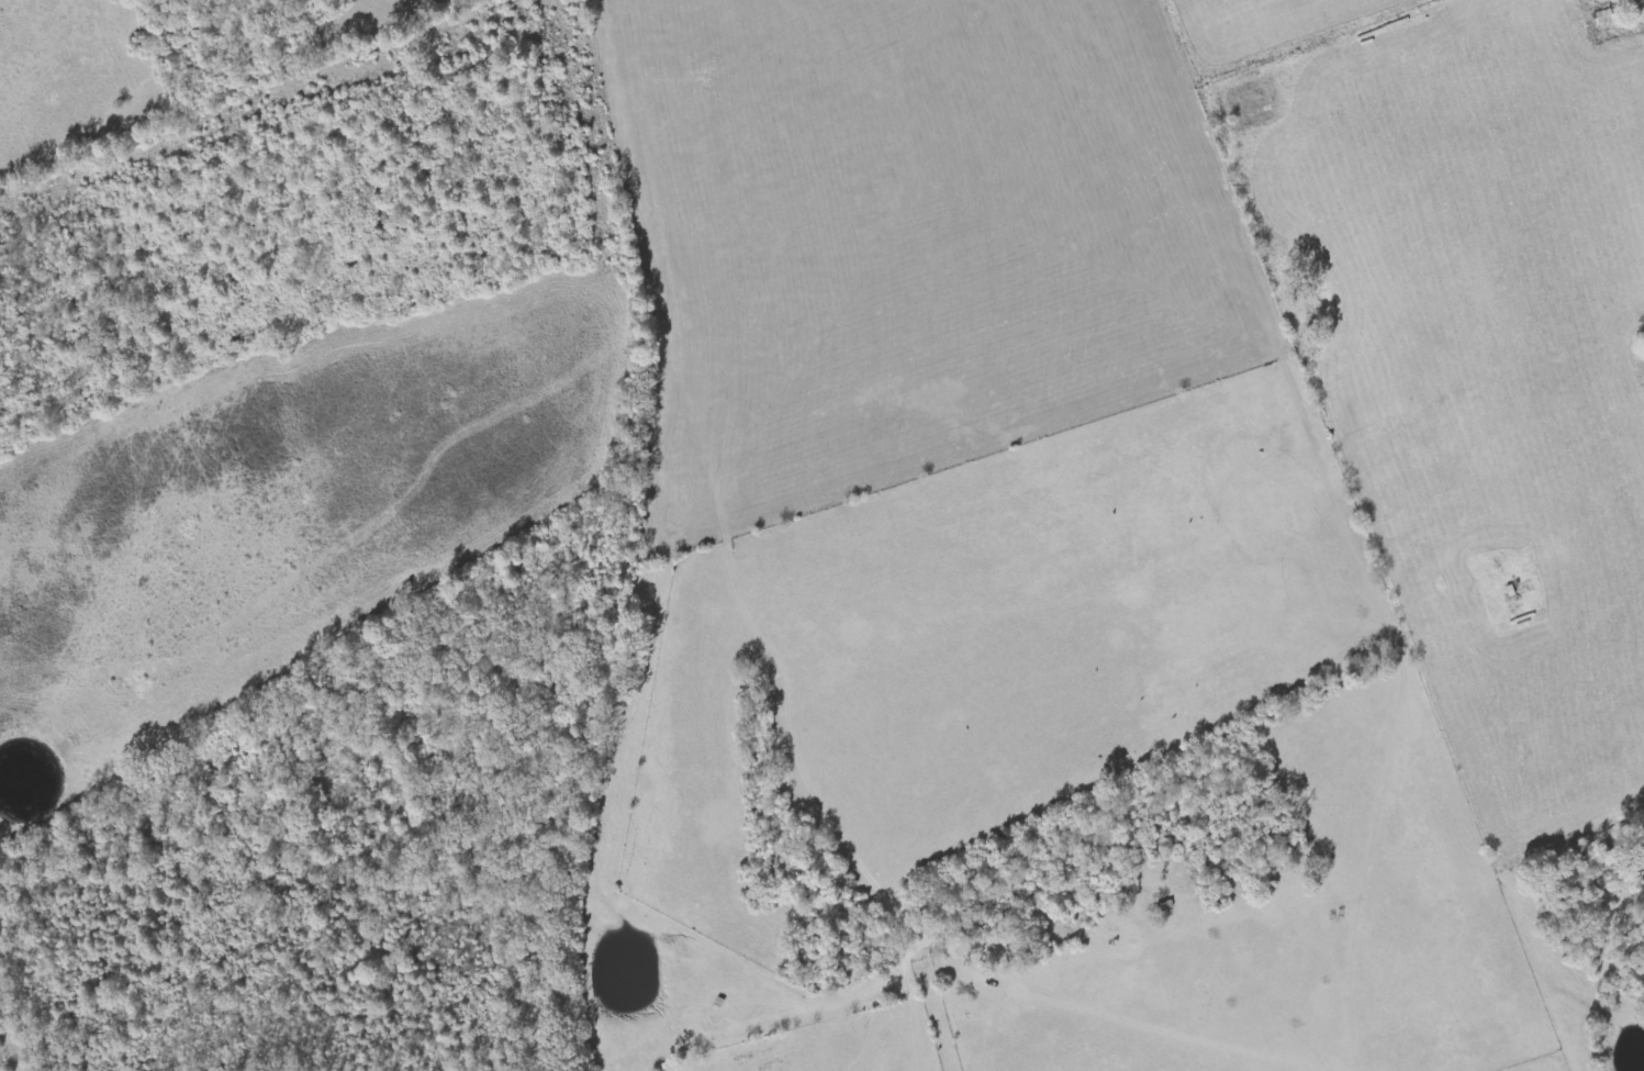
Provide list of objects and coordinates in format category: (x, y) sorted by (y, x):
building: (1640, 1)

